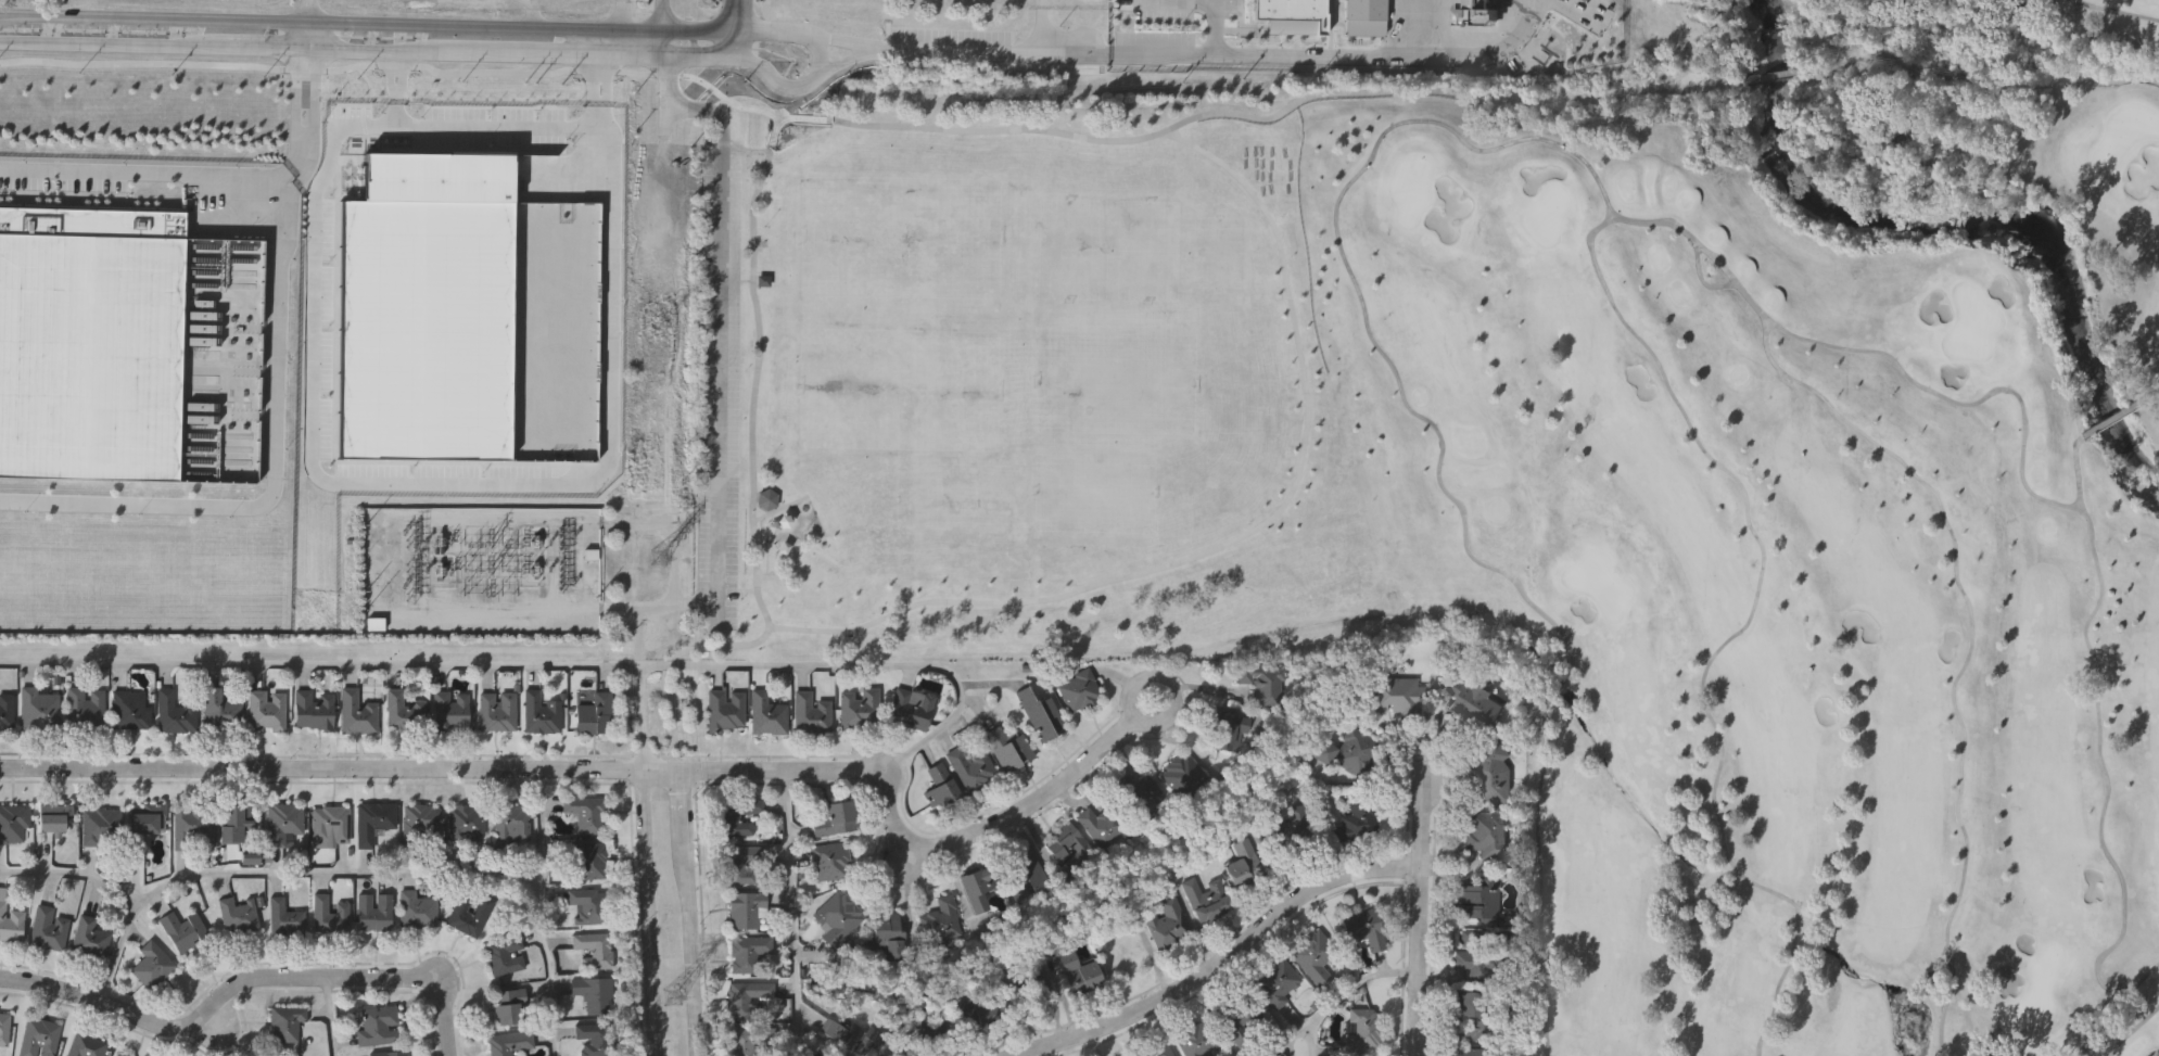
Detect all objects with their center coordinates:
road: (1181, 0)
road: (1217, 0)
building: (1476, 12)
road: (661, 14)
road: (736, 14)
building: (1293, 15)
building: (1364, 17)
road: (330, 22)
road: (1216, 27)
road: (1407, 27)
road: (750, 29)
road: (297, 34)
road: (529, 39)
road: (736, 43)
road: (429, 49)
road: (1115, 52)
road: (1477, 54)
road: (668, 75)
road: (1769, 77)
road: (1977, 80)
road: (393, 86)
road: (595, 89)
road: (725, 98)
road: (296, 120)
road: (898, 125)
road: (752, 147)
park: (1409, 188)
park: (904, 239)
park: (1068, 249)
park: (1148, 251)
building: (760, 276)
road: (744, 278)
road: (719, 308)
power tower: (659, 326)
road: (271, 339)
building: (91, 343)
park: (999, 361)
parking lot: (715, 382)
park: (1116, 383)
park: (901, 391)
road: (579, 479)
park: (1095, 492)
park: (962, 495)
building: (765, 498)
road: (763, 499)
road: (777, 509)
park: (1782, 513)
road: (1240, 537)
power tower: (658, 557)
power substation: (482, 571)
road: (759, 573)
road: (674, 578)
road: (744, 586)
road: (545, 666)
building: (1262, 683)
building: (1079, 689)
building: (1397, 695)
building: (1475, 703)
building: (37, 707)
building: (84, 707)
building: (859, 707)
building: (128, 709)
building: (220, 709)
building: (723, 709)
building: (911, 709)
building: (5, 710)
building: (314, 711)
building: (357, 711)
building: (450, 711)
building: (497, 711)
building: (174, 712)
building: (266, 712)
building: (405, 712)
building: (593, 712)
building: (810, 712)
building: (767, 713)
building: (539, 714)
building: (1040, 714)
road: (642, 717)
road: (1159, 723)
building: (1228, 728)
building: (1008, 746)
building: (1348, 751)
road: (618, 767)
building: (970, 768)
building: (1182, 773)
building: (1494, 773)
building: (940, 784)
building: (1139, 793)
building: (585, 812)
building: (737, 814)
building: (54, 815)
building: (145, 815)
building: (834, 816)
building: (1357, 818)
building: (236, 819)
building: (331, 819)
building: (373, 819)
building: (13, 822)
building: (284, 822)
building: (466, 822)
building: (101, 823)
building: (420, 824)
building: (511, 824)
building: (1103, 824)
building: (191, 825)
building: (1288, 826)
building: (1487, 831)
building: (1082, 852)
building: (829, 858)
building: (588, 861)
building: (741, 862)
building: (1243, 863)
road: (284, 873)
road: (75, 875)
building: (1027, 875)
building: (977, 885)
building: (1206, 898)
building: (1478, 898)
building: (744, 906)
building: (587, 907)
building: (417, 911)
building: (376, 912)
road: (542, 912)
road: (648, 912)
building: (238, 913)
road: (685, 913)
road: (791, 913)
building: (330, 914)
building: (470, 915)
building: (285, 917)
building: (837, 918)
building: (940, 920)
road: (1418, 920)
building: (10, 921)
building: (1167, 924)
building: (1363, 927)
building: (183, 928)
building: (49, 929)
building: (884, 937)
building: (90, 939)
building: (595, 952)
building: (748, 952)
building: (505, 953)
building: (1316, 953)
building: (1481, 954)
road: (1219, 959)
building: (152, 963)
building: (1079, 972)
building: (1277, 980)
road: (244, 981)
building: (1029, 988)
building: (593, 994)
power tower: (673, 995)
building: (745, 996)
building: (508, 1002)
road: (1336, 1002)
building: (1473, 1013)
building: (977, 1014)
building: (1239, 1014)
road: (330, 1016)
building: (287, 1021)
building: (378, 1026)
building: (2, 1027)
building: (1362, 1030)
building: (924, 1031)
building: (854, 1033)
building: (38, 1036)
building: (1196, 1038)
building: (750, 1039)
building: (595, 1040)
road: (1308, 1040)
building: (508, 1043)
building: (85, 1045)
building: (1155, 1049)
building: (1471, 1051)
building: (393, 1054)
building: (117, 1055)
building: (274, 1055)

